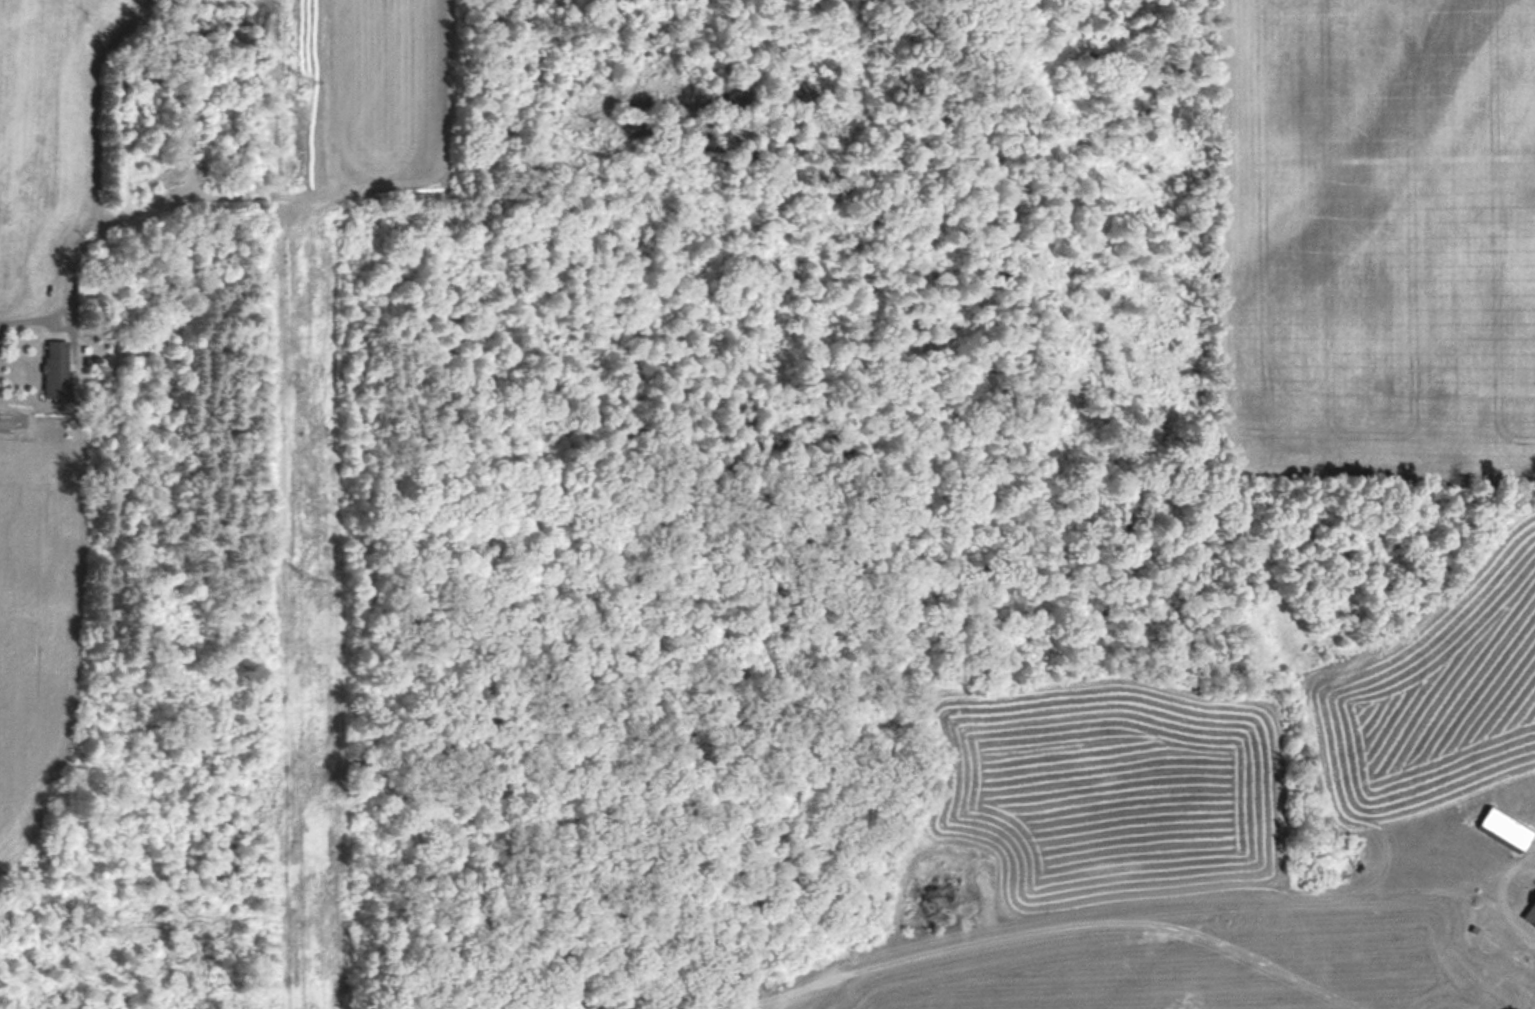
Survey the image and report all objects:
power tower: (308, 82)
building: (87, 291)
building: (56, 369)
power tower: (312, 582)
building: (1505, 829)
road: (1502, 894)
building: (1534, 904)

